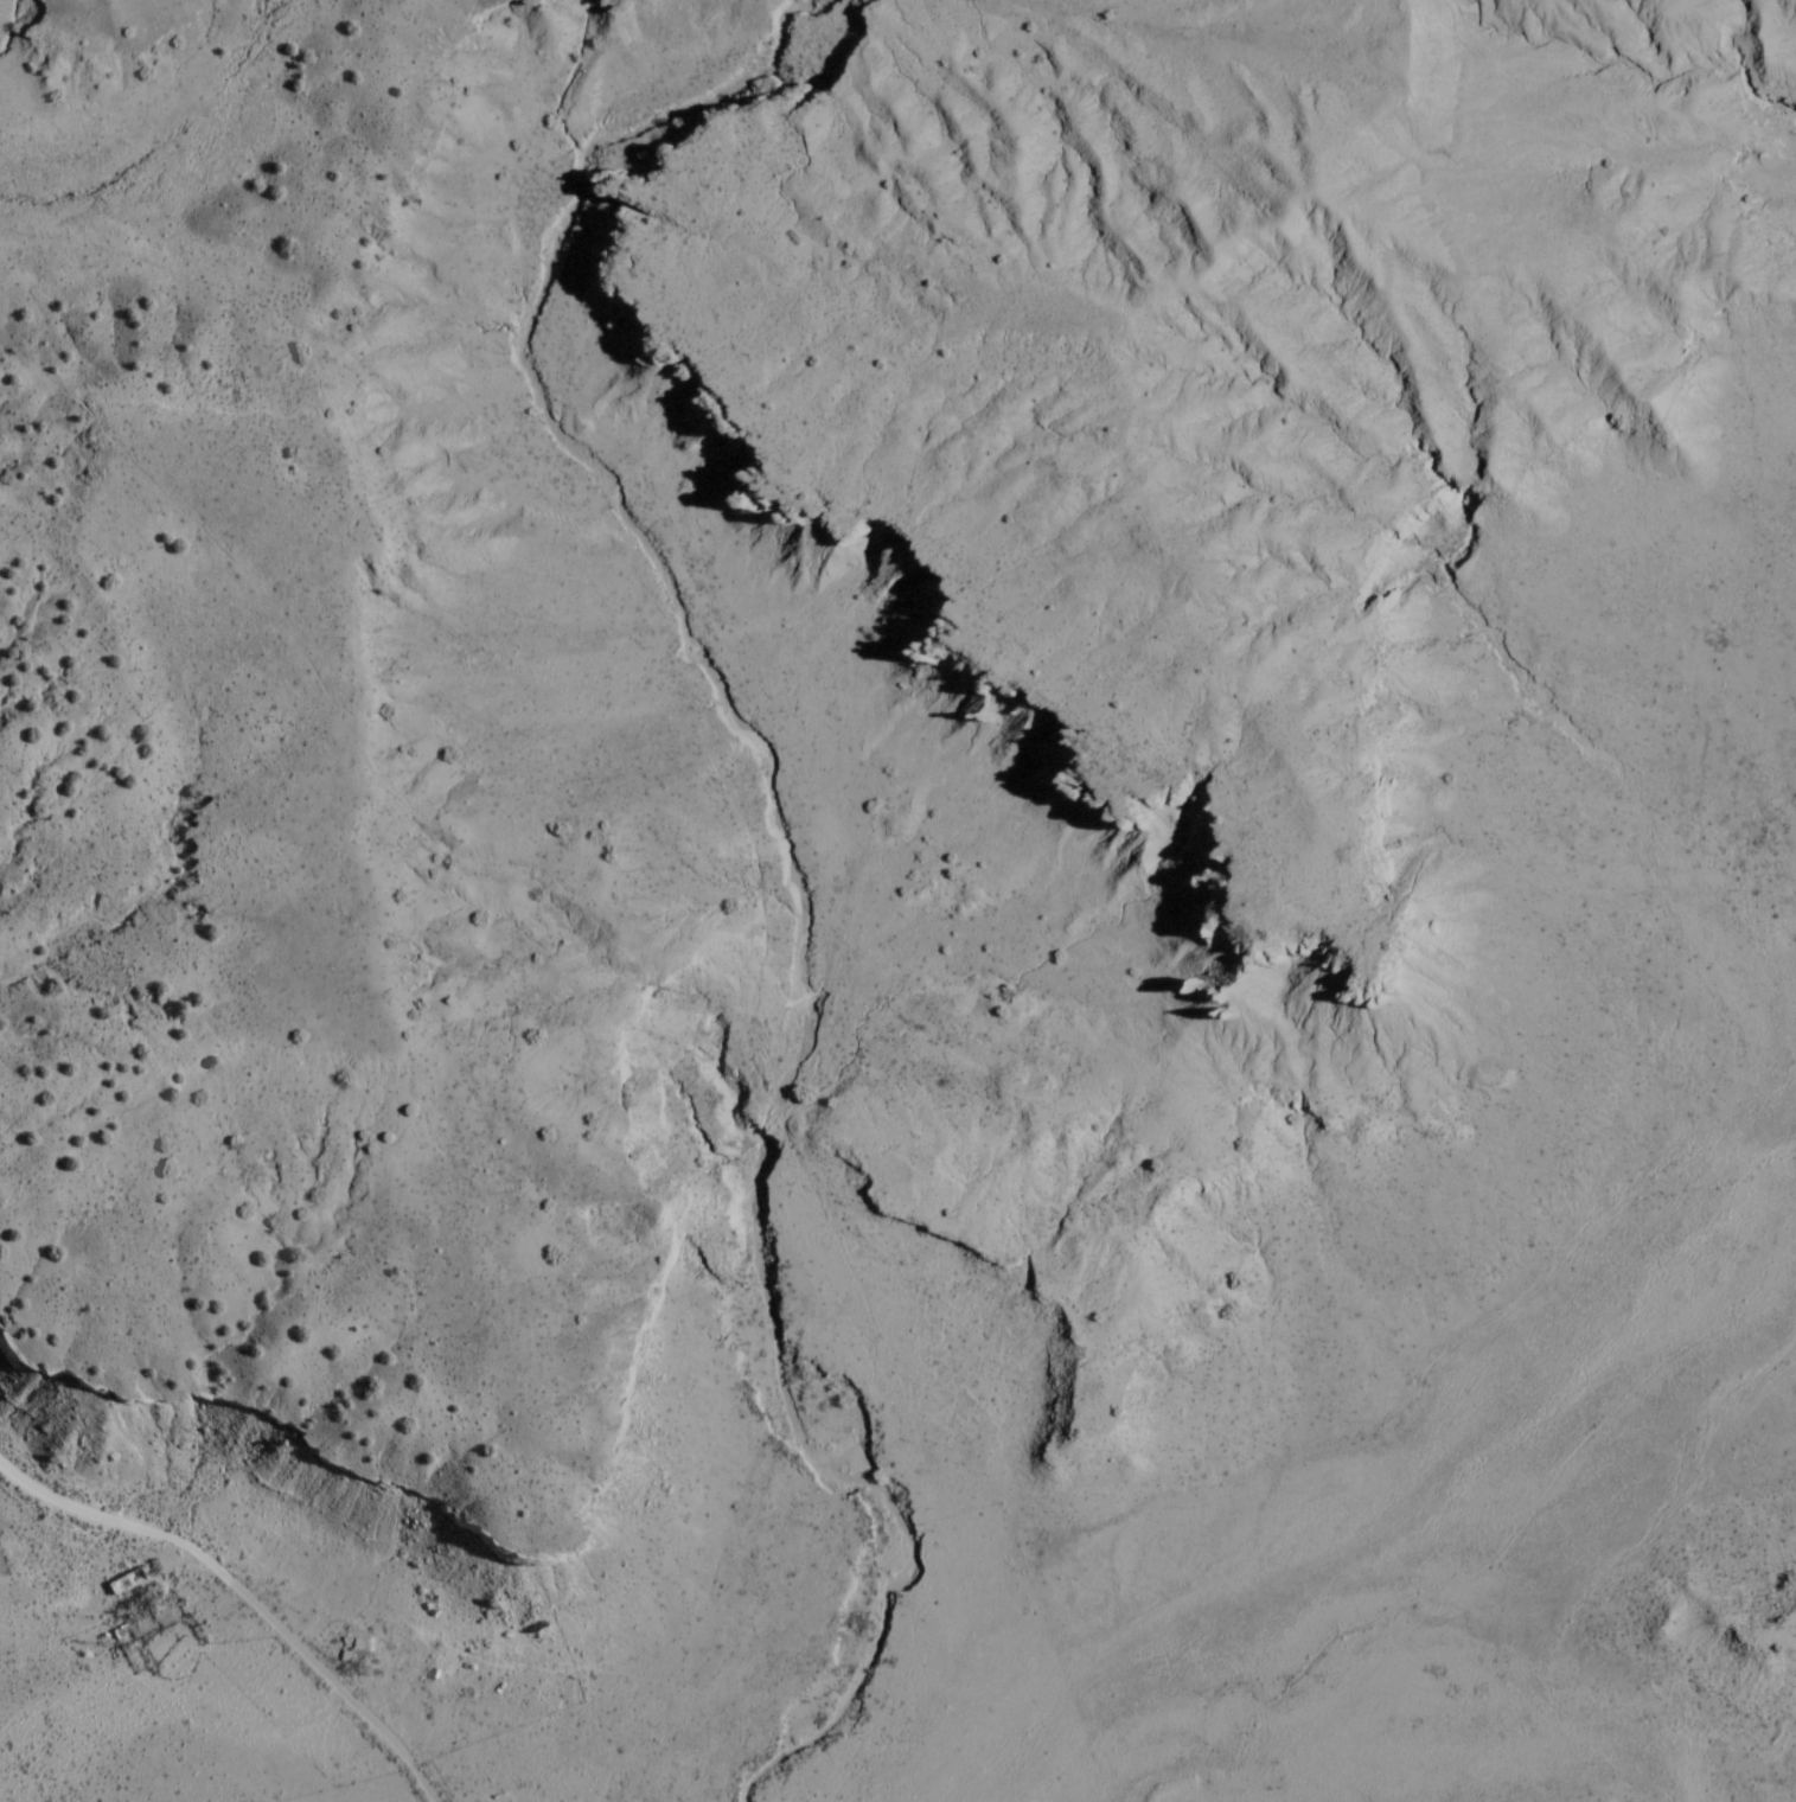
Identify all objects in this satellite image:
road: (239, 1597)
building: (356, 1649)

